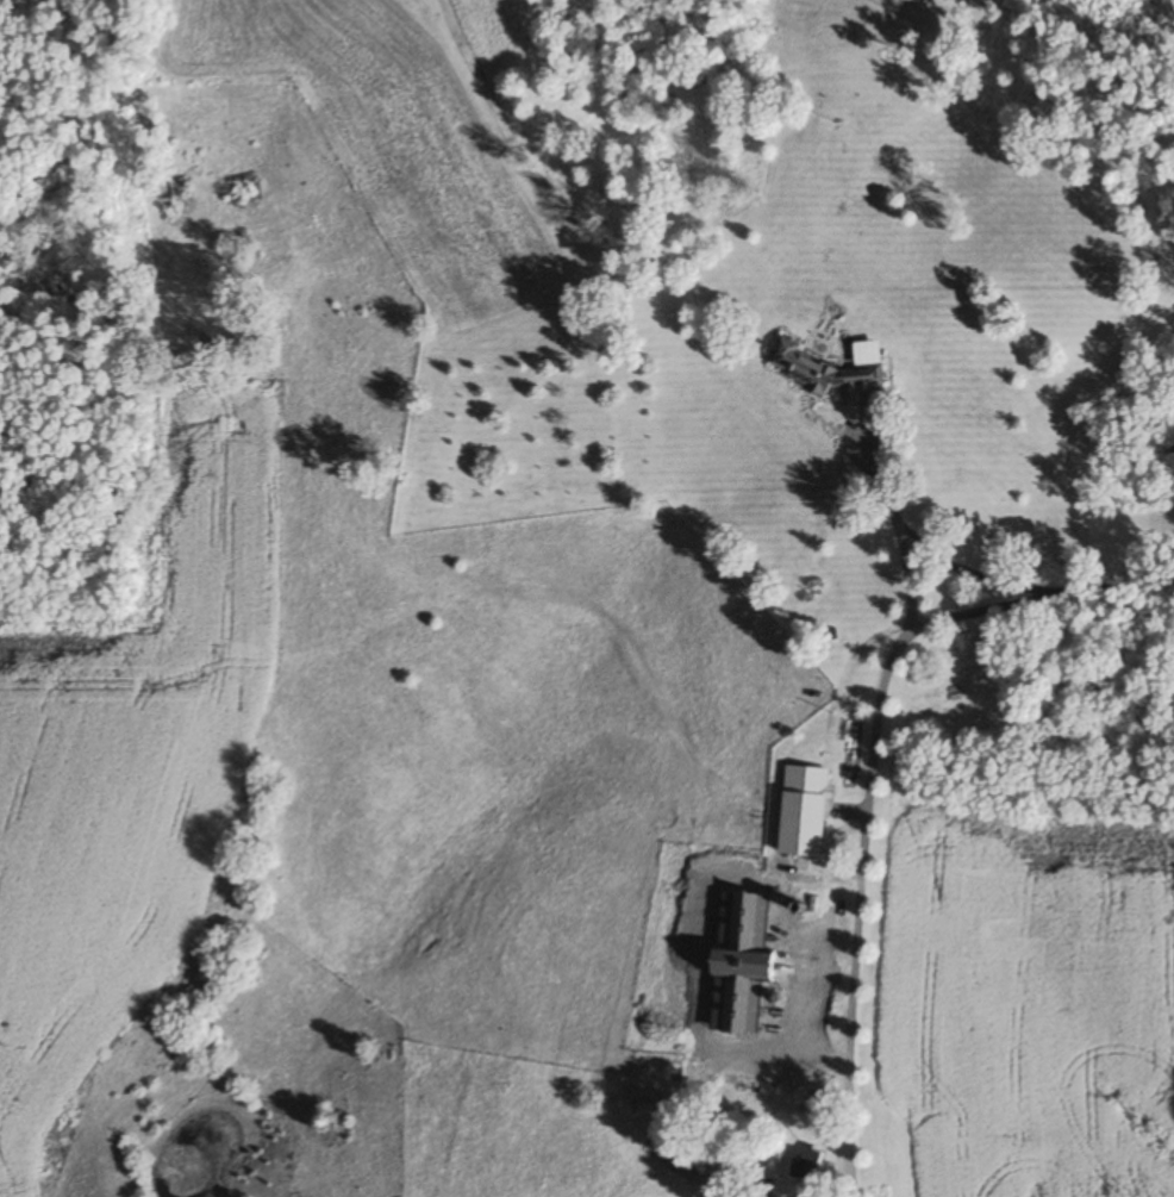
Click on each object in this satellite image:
road: (889, 522)
road: (961, 569)
road: (870, 774)
crop: (130, 778)
building: (805, 811)
building: (757, 973)
crop: (1026, 1010)
building: (792, 1101)
building: (694, 1157)
building: (807, 1164)

